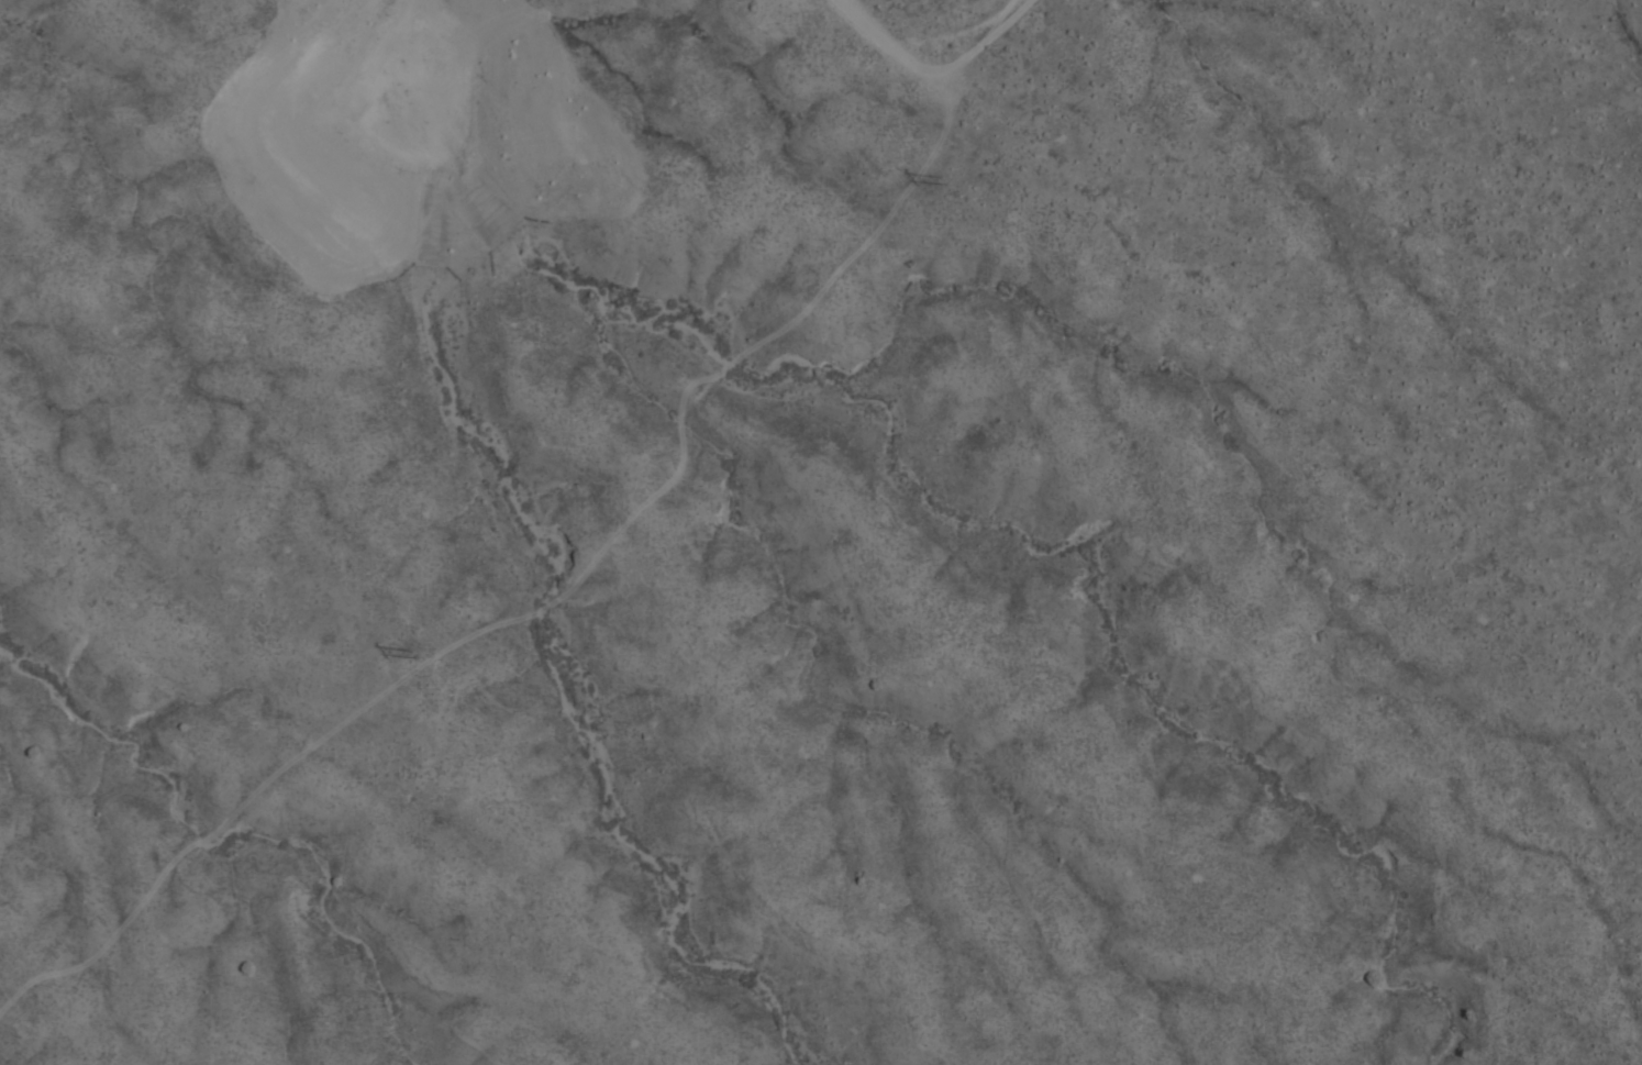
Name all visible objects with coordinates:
power tower: (941, 182)
power tower: (415, 659)

